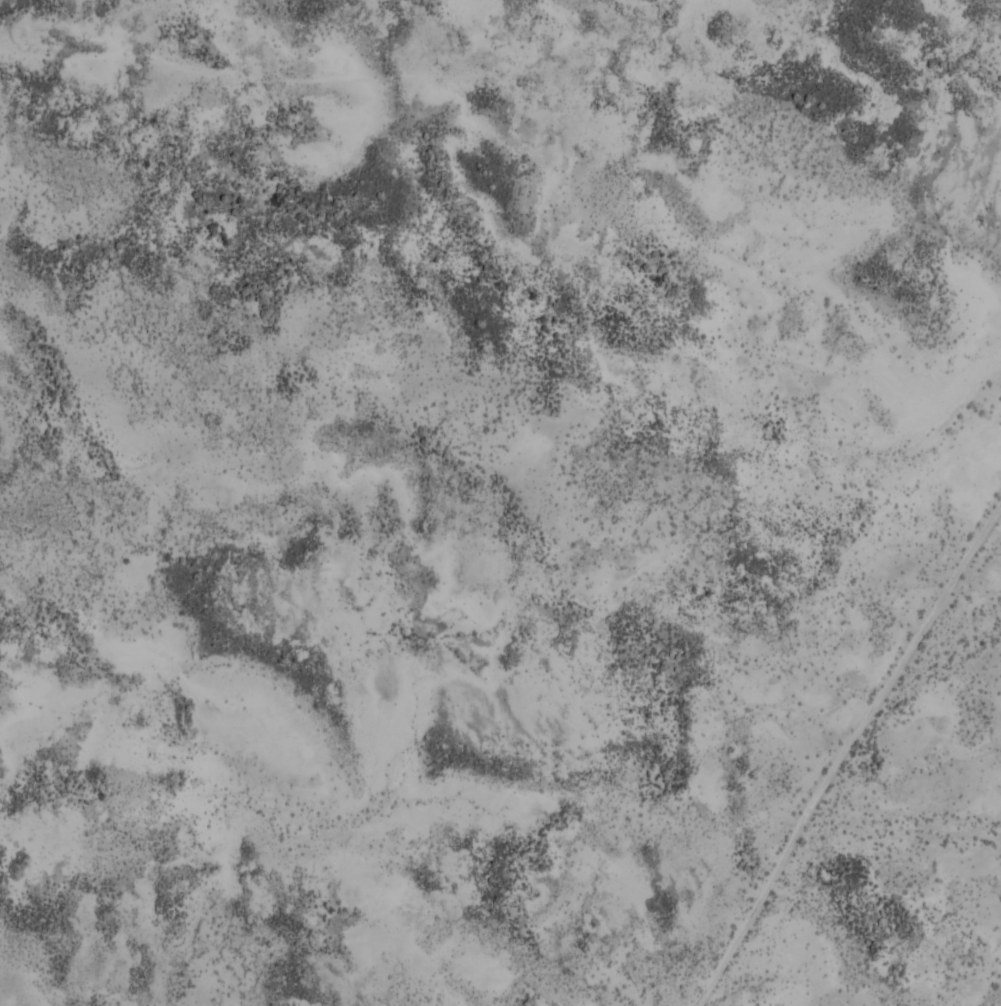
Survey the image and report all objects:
road: (834, 730)

